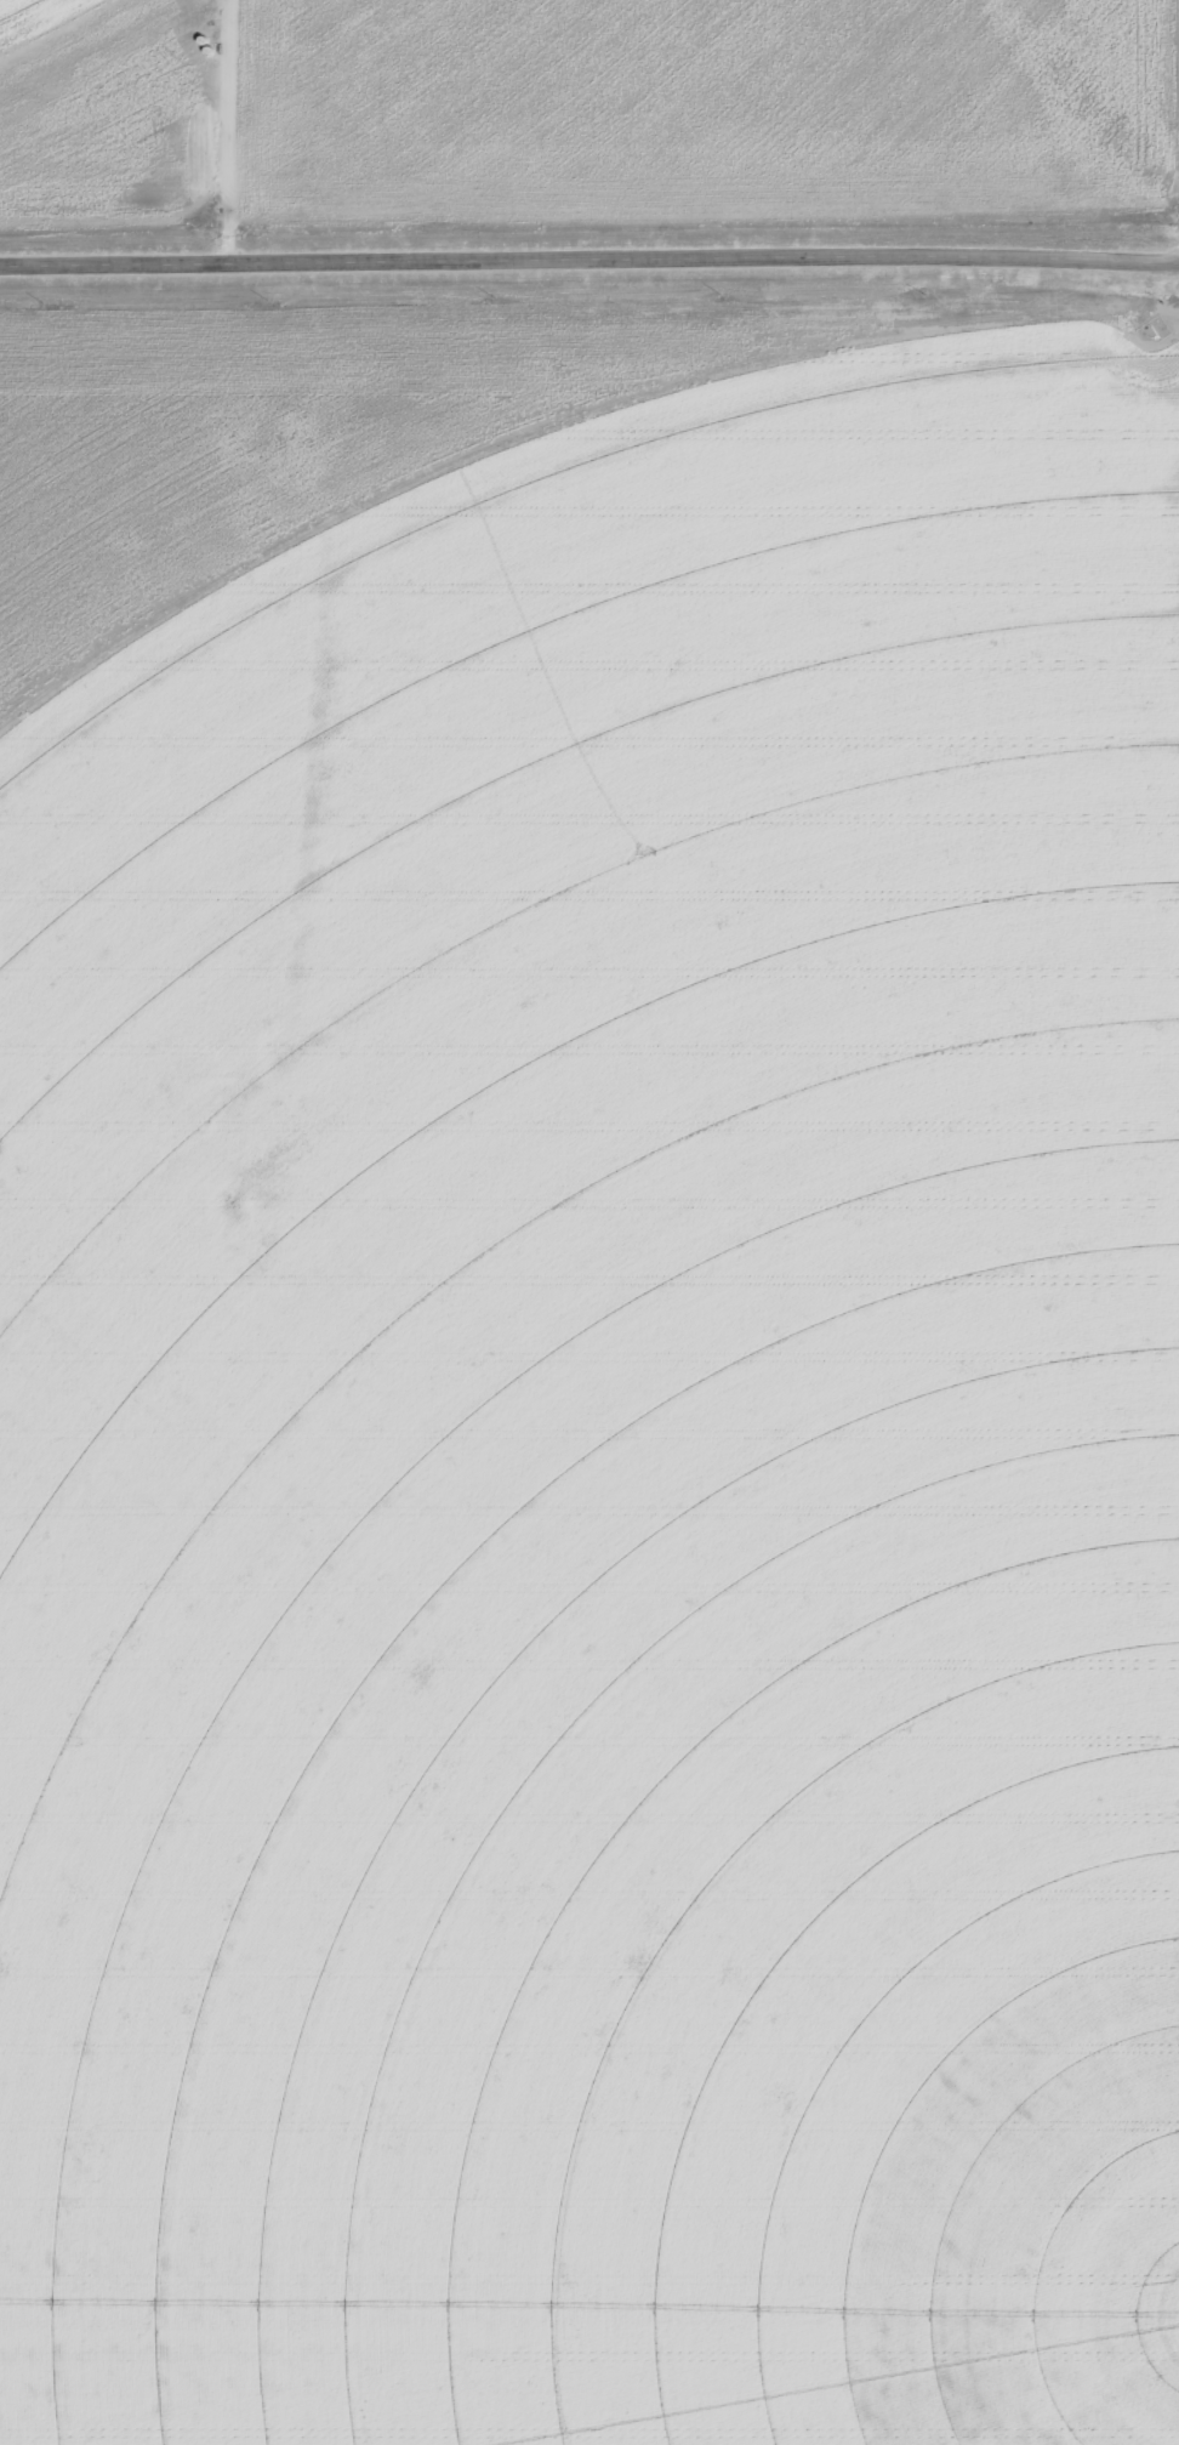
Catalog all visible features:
road: (209, 133)
road: (589, 265)

